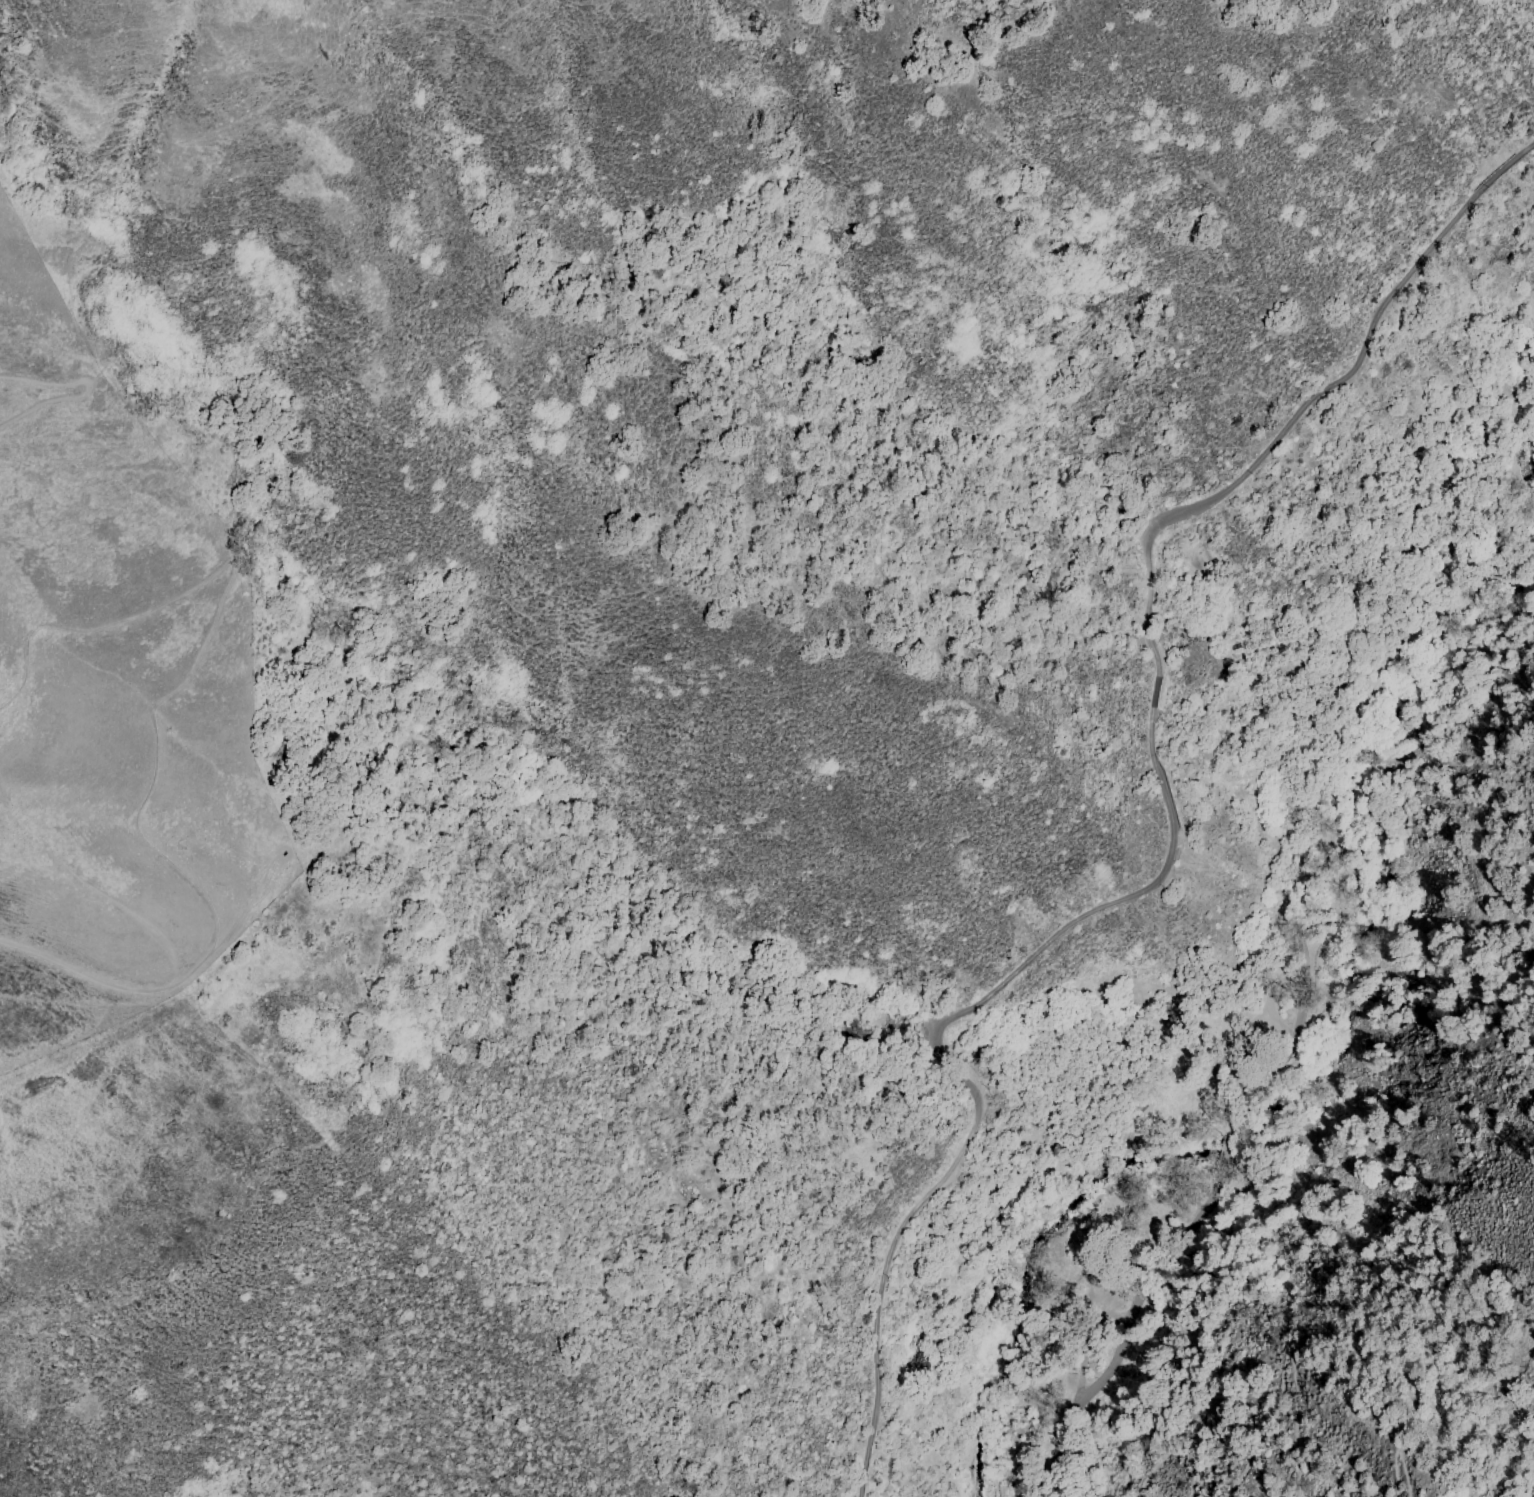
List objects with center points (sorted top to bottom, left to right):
road: (83, 388)
road: (1513, 447)
road: (213, 613)
road: (1363, 708)
road: (1169, 824)
park: (887, 854)
road: (118, 984)
road: (1289, 1045)
road: (1220, 1147)
road: (1199, 1213)
road: (1289, 1347)
road: (1098, 1378)
road: (1152, 1380)
road: (990, 1391)
road: (1030, 1404)
road: (1189, 1432)
road: (972, 1443)
road: (1398, 1453)

